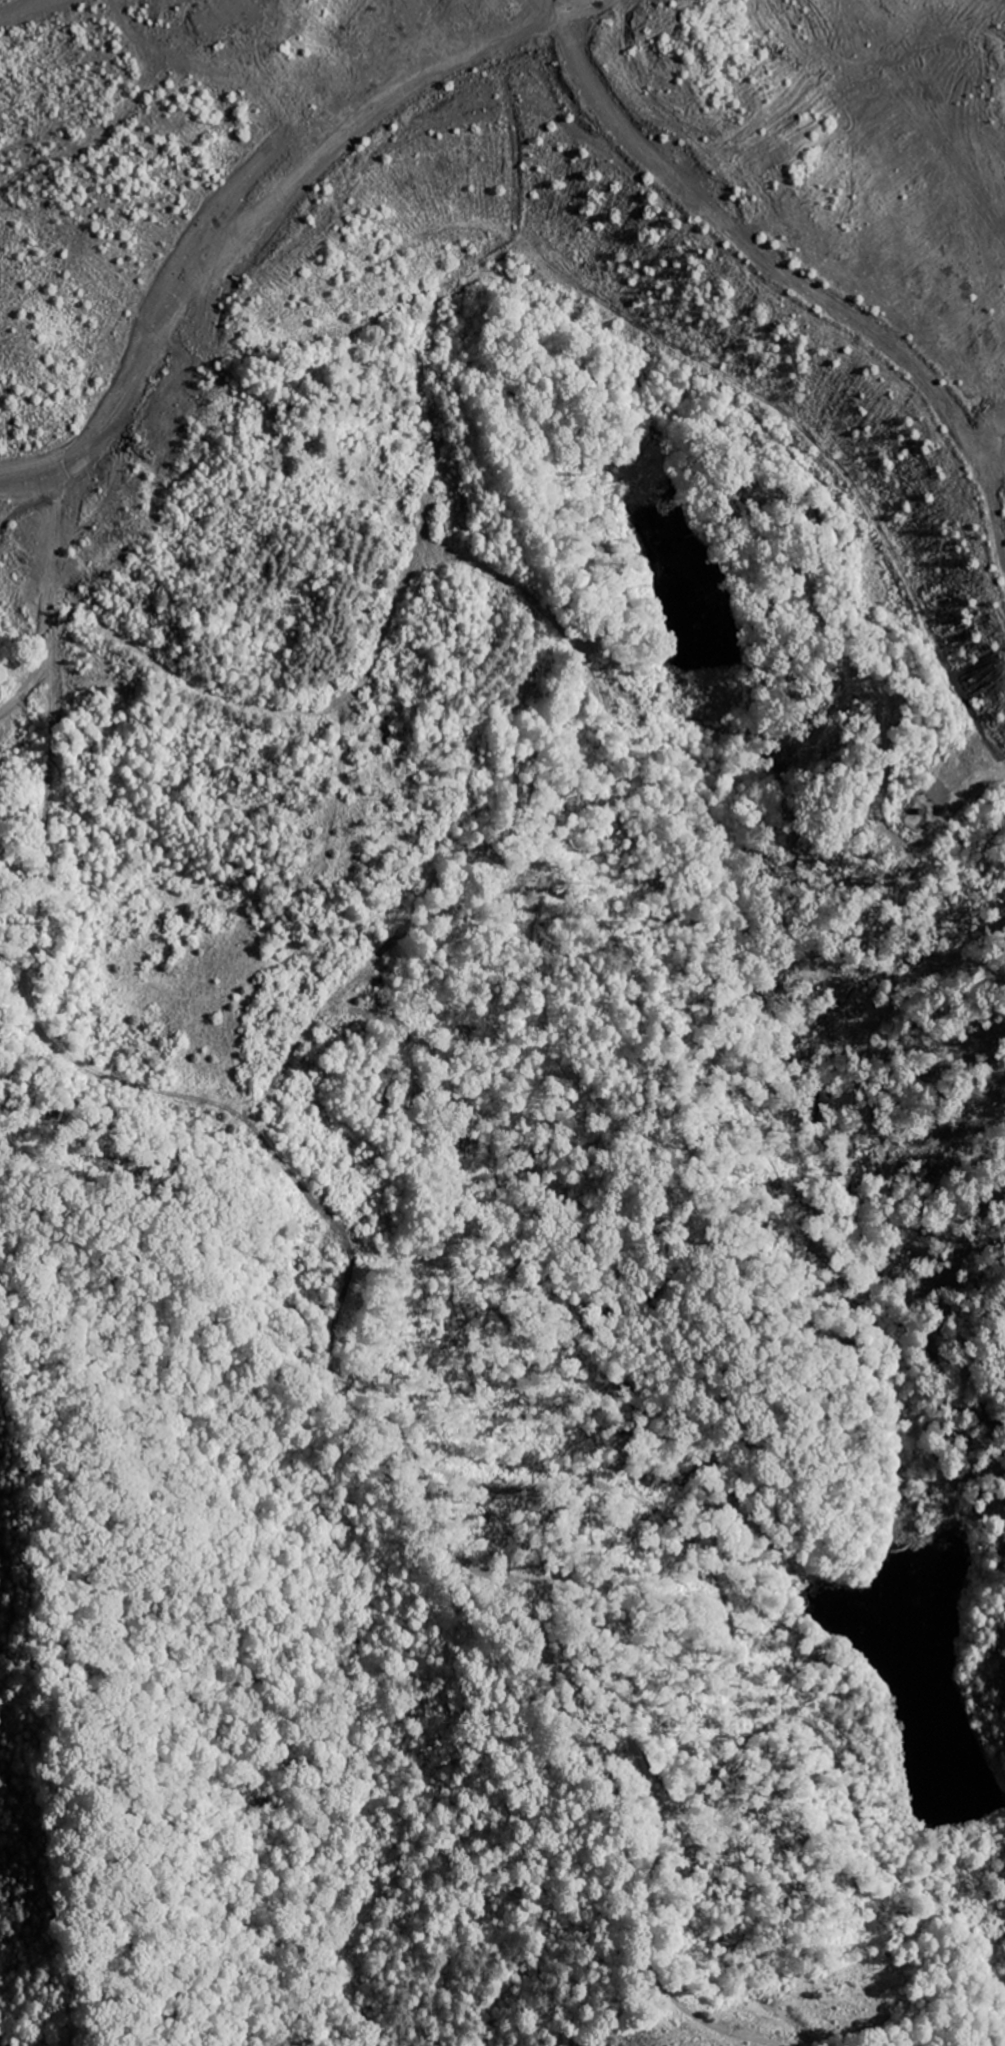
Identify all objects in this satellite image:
road: (234, 198)
road: (387, 1429)

